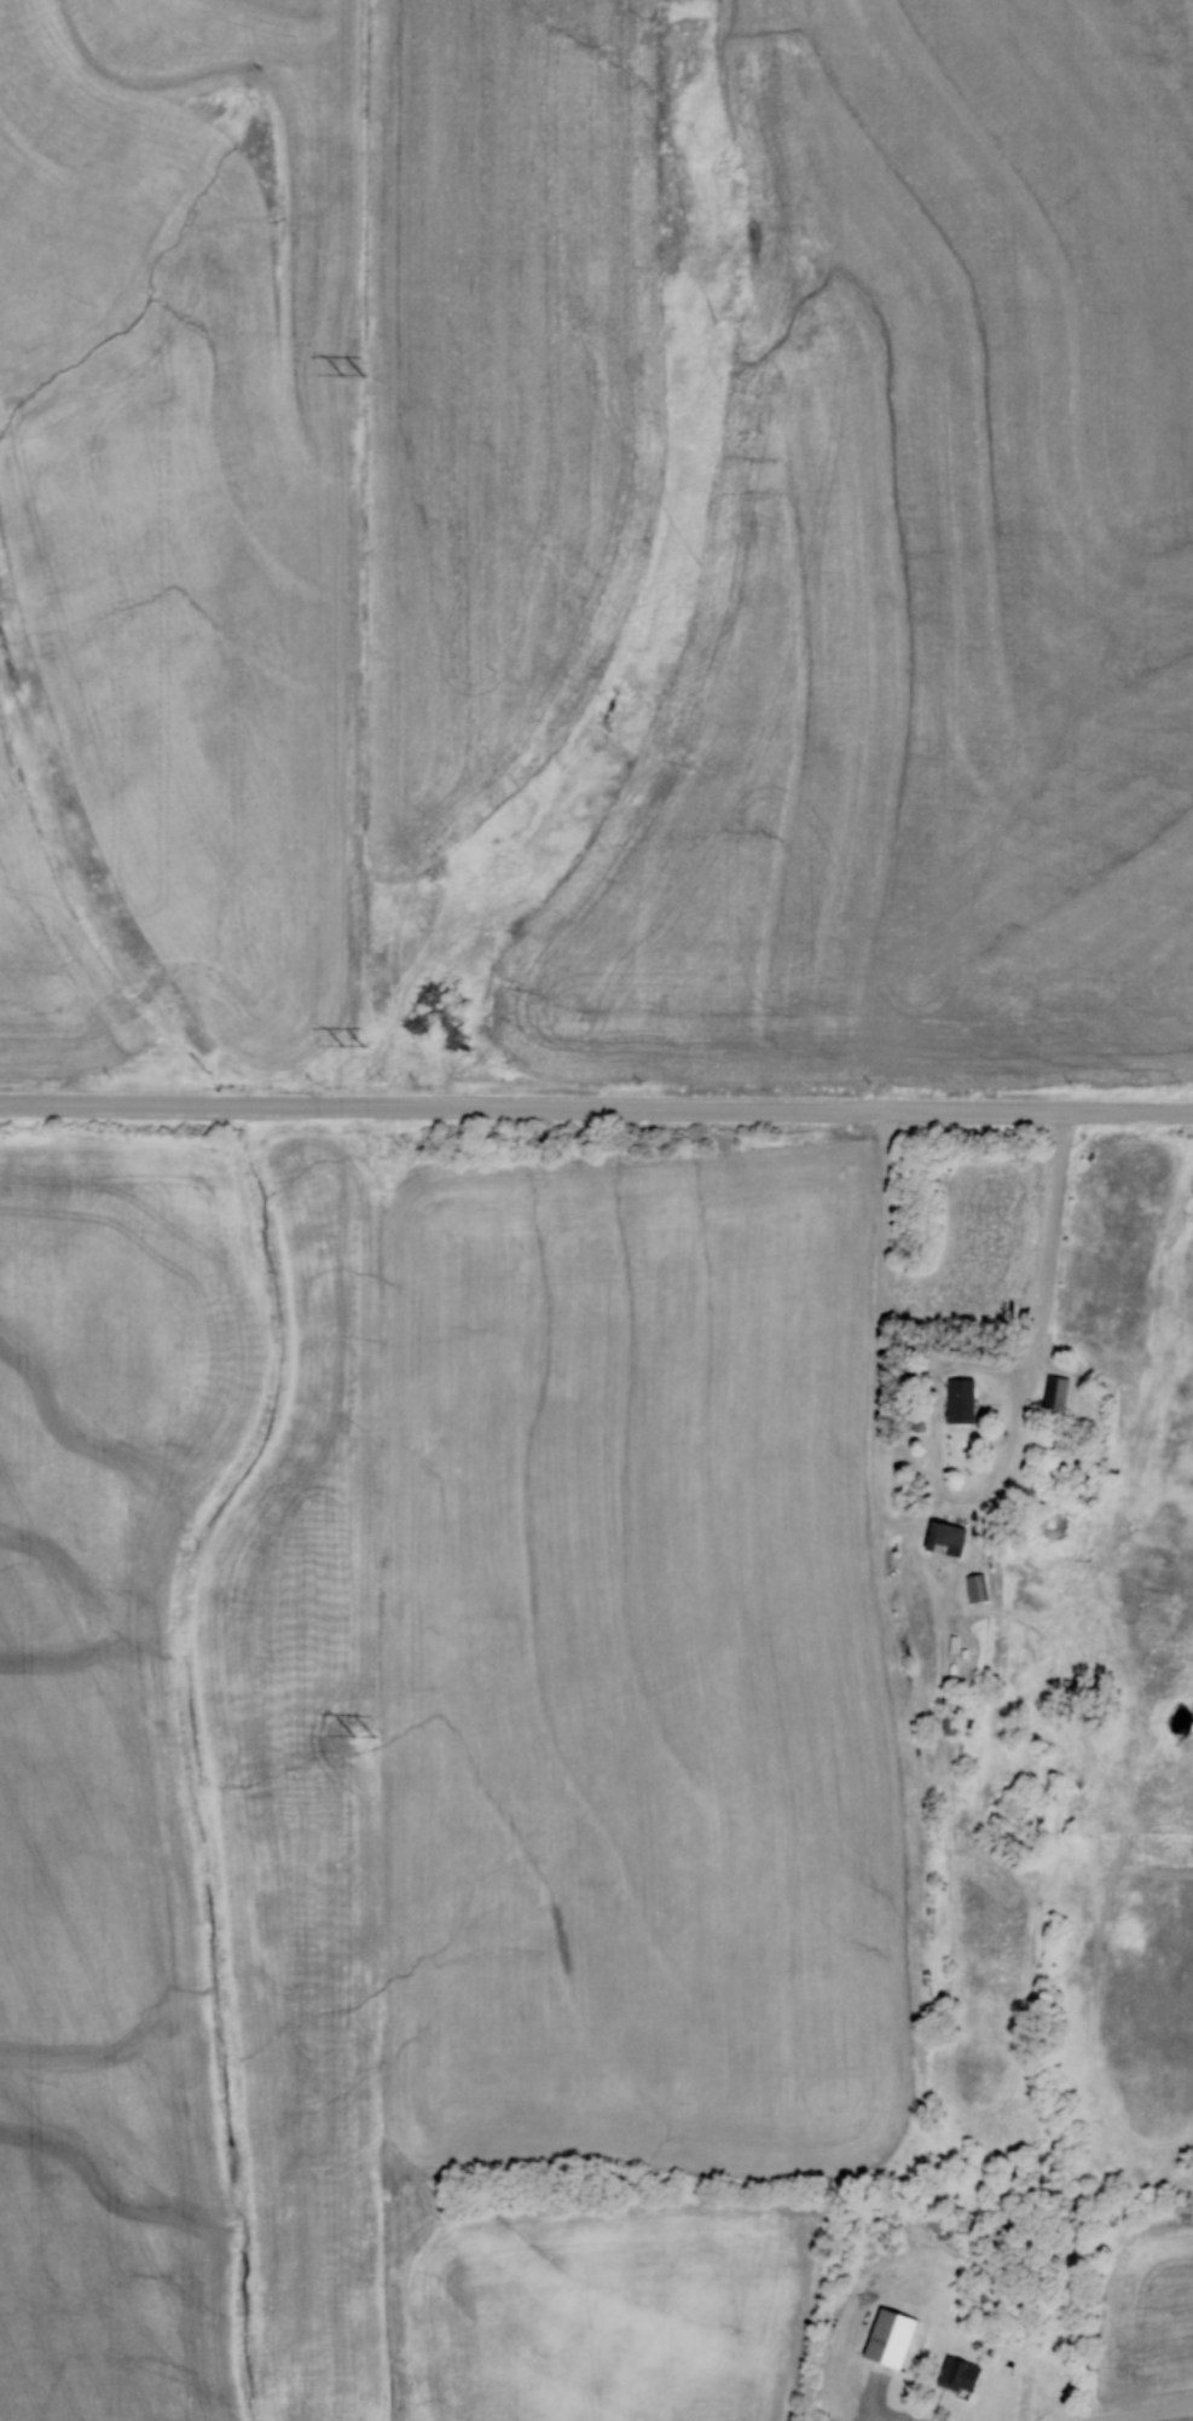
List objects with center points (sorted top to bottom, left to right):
power tower: (348, 379)
power tower: (344, 1047)
road: (596, 1109)
building: (1061, 1392)
building: (966, 1400)
building: (951, 1536)
building: (978, 1587)
power tower: (357, 1737)
building: (897, 2339)
building: (966, 2374)
road: (1139, 2413)

